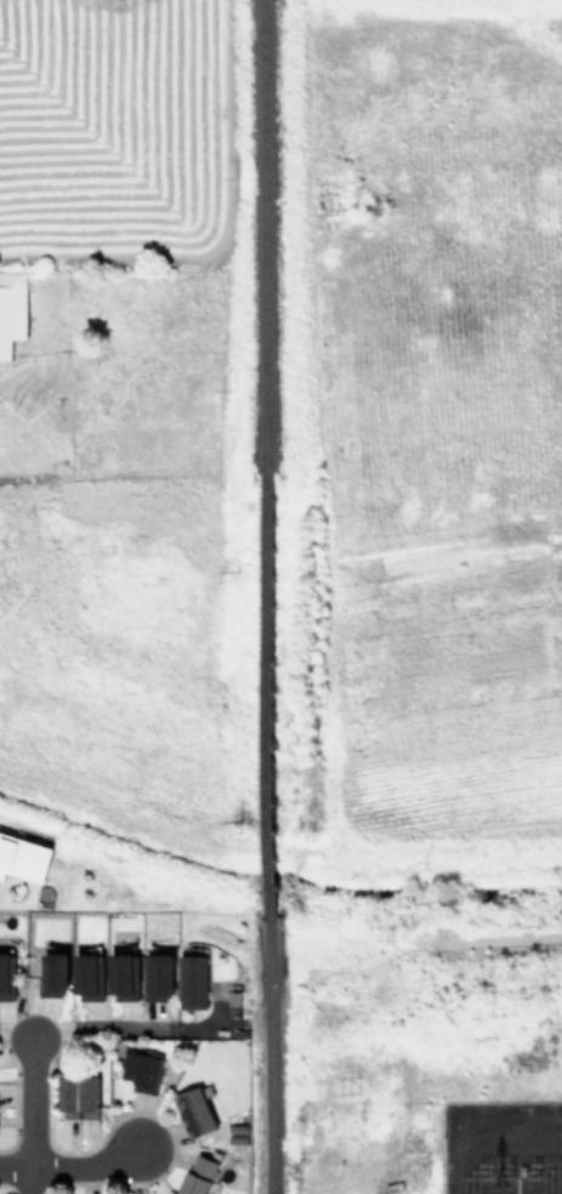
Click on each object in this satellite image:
building: (11, 309)
railway: (266, 596)
building: (23, 858)
building: (53, 974)
building: (157, 976)
building: (86, 977)
building: (123, 977)
building: (6, 978)
building: (192, 982)
road: (140, 1029)
road: (15, 1034)
building: (141, 1070)
building: (78, 1097)
road: (30, 1104)
building: (194, 1111)
power substation: (500, 1152)
road: (15, 1169)
road: (85, 1169)
building: (198, 1175)
road: (29, 1182)

